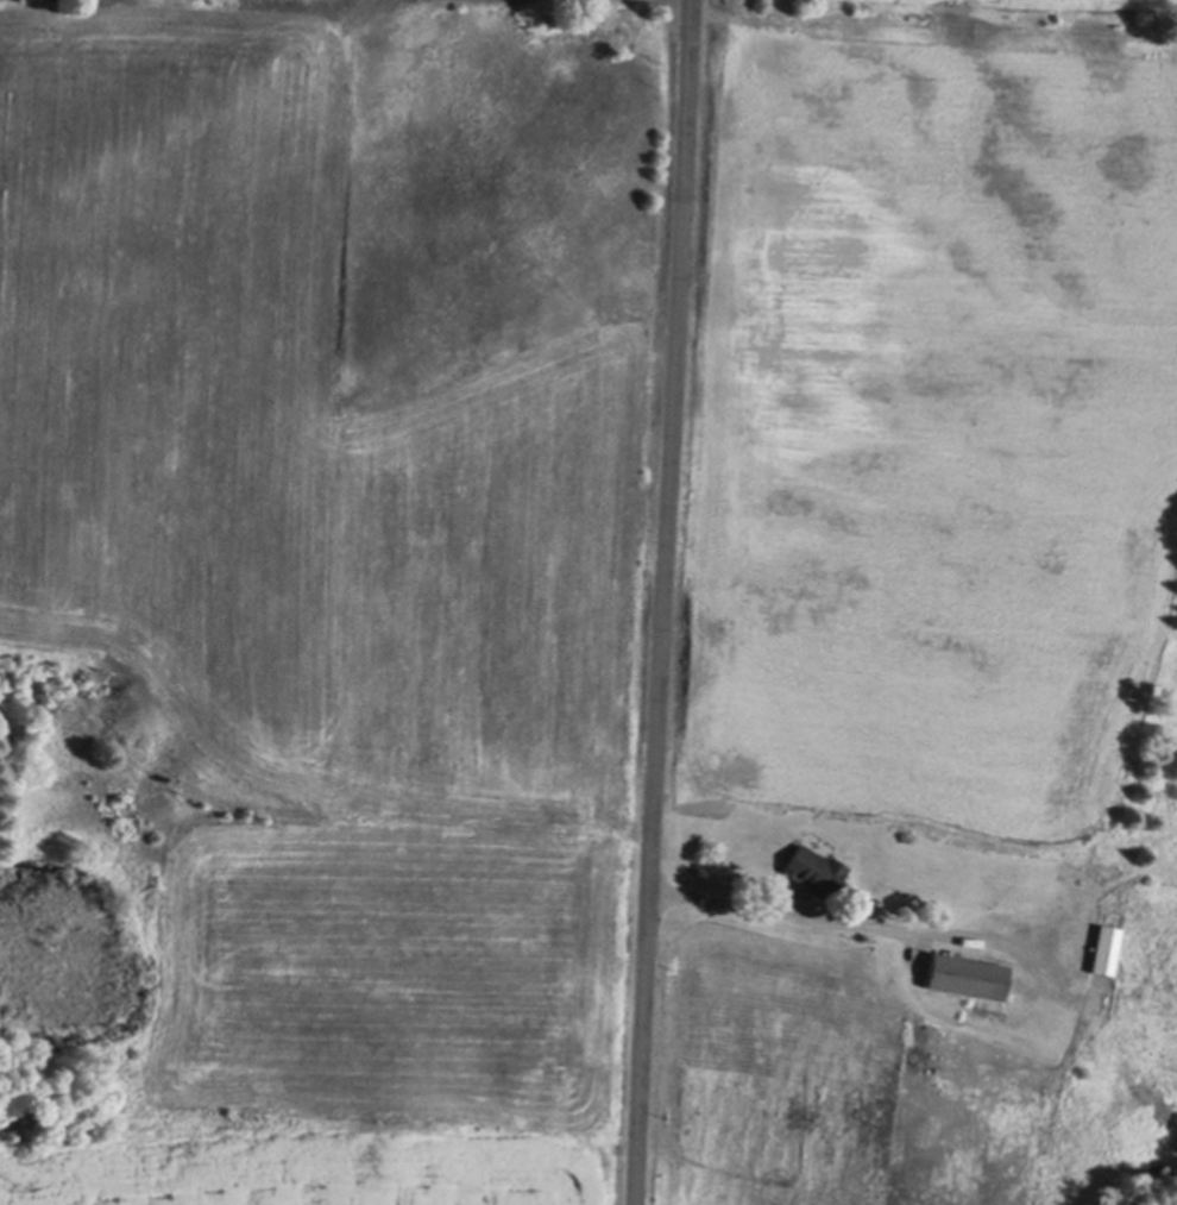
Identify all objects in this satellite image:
road: (662, 602)
building: (813, 868)
building: (1090, 933)
building: (965, 972)

